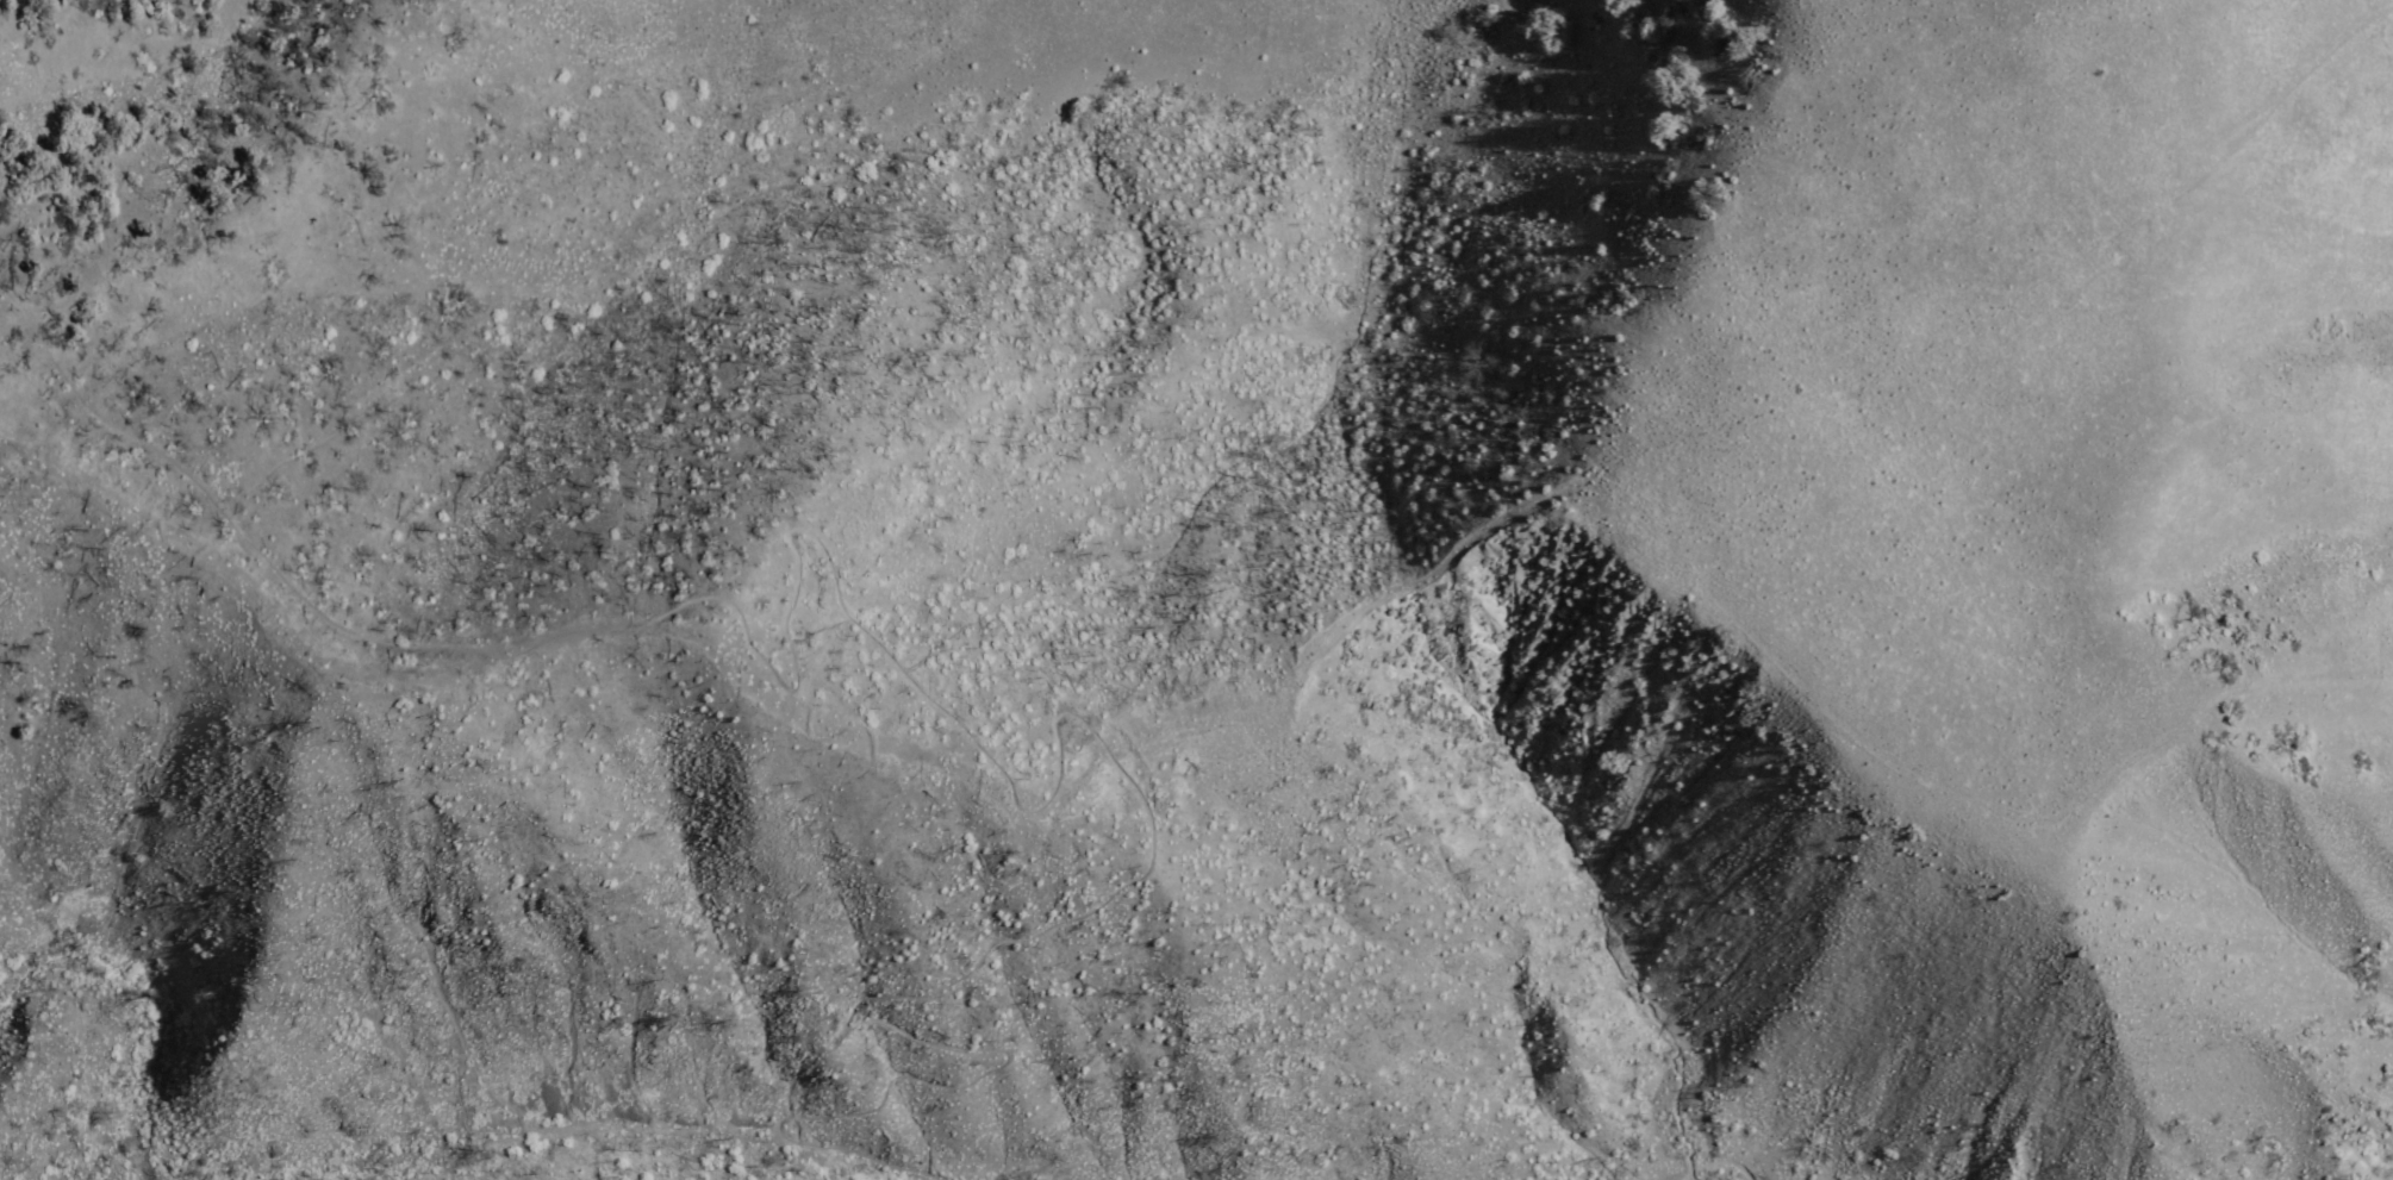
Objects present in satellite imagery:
road: (416, 625)
road: (1058, 924)
road: (1703, 1166)

